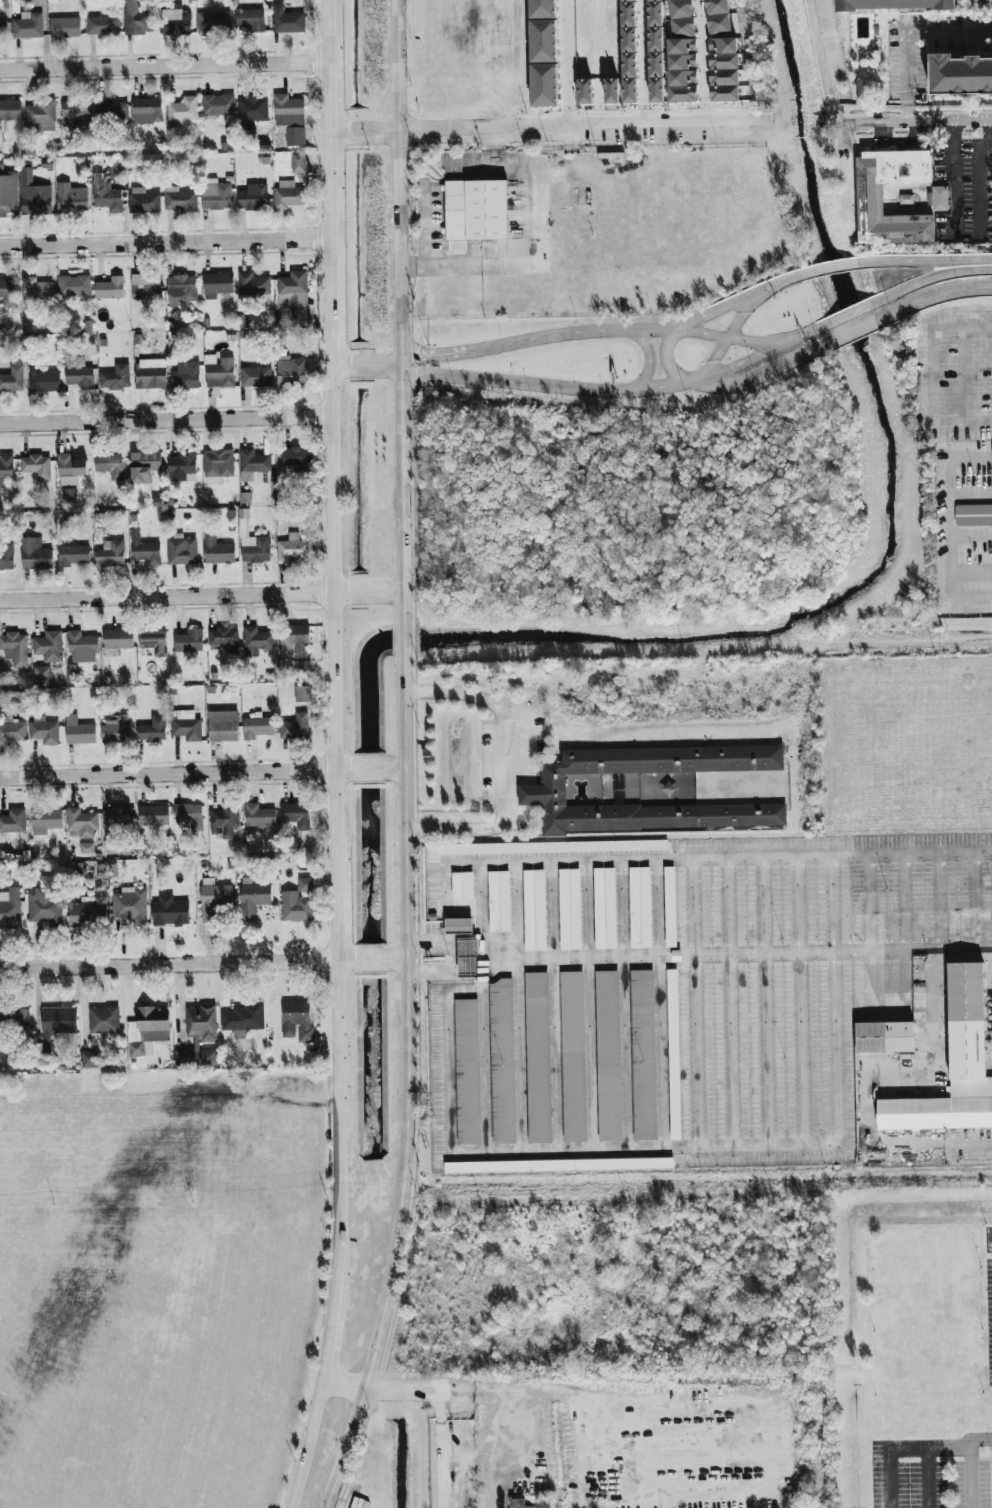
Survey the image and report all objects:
building: (627, 0)
building: (894, 4)
building: (541, 8)
building: (628, 14)
building: (716, 16)
building: (250, 19)
building: (681, 19)
building: (287, 20)
building: (138, 21)
building: (177, 23)
building: (213, 23)
building: (28, 26)
building: (102, 26)
building: (3, 27)
building: (65, 27)
road: (905, 35)
road: (325, 36)
building: (628, 39)
building: (542, 41)
building: (655, 51)
road: (699, 53)
road: (564, 54)
road: (824, 62)
building: (628, 65)
road: (162, 68)
building: (723, 69)
building: (682, 70)
building: (958, 71)
building: (543, 85)
building: (584, 91)
building: (611, 91)
road: (326, 103)
building: (218, 105)
building: (10, 110)
building: (112, 111)
building: (146, 111)
building: (76, 112)
building: (182, 112)
building: (251, 112)
building: (41, 115)
road: (704, 115)
building: (290, 118)
road: (565, 118)
road: (914, 123)
road: (597, 127)
road: (376, 132)
road: (495, 140)
road: (495, 160)
building: (298, 163)
road: (953, 175)
road: (982, 175)
building: (8, 192)
building: (215, 195)
building: (289, 195)
building: (34, 196)
building: (106, 197)
building: (252, 197)
building: (867, 198)
building: (941, 198)
building: (906, 199)
building: (179, 200)
building: (72, 202)
building: (143, 202)
road: (536, 207)
building: (474, 210)
road: (329, 216)
road: (431, 229)
road: (165, 247)
road: (869, 261)
road: (439, 269)
building: (253, 284)
building: (73, 285)
building: (145, 285)
building: (217, 285)
building: (7, 288)
building: (110, 288)
building: (181, 289)
building: (36, 290)
building: (292, 290)
road: (951, 291)
road: (881, 299)
road: (400, 311)
road: (863, 327)
road: (330, 332)
road: (610, 332)
road: (724, 337)
road: (725, 340)
road: (433, 359)
road: (648, 359)
road: (665, 364)
road: (735, 364)
road: (366, 365)
building: (290, 370)
building: (218, 372)
building: (150, 374)
building: (186, 376)
road: (757, 376)
building: (13, 377)
building: (80, 377)
building: (255, 377)
building: (116, 378)
building: (44, 381)
road: (548, 387)
road: (165, 421)
building: (296, 456)
building: (218, 463)
building: (252, 464)
building: (109, 465)
building: (36, 466)
building: (144, 466)
building: (182, 467)
building: (5, 468)
building: (70, 469)
building: (69, 496)
road: (949, 513)
building: (972, 516)
building: (292, 548)
building: (255, 549)
building: (144, 550)
building: (181, 550)
building: (218, 551)
building: (35, 554)
building: (110, 554)
building: (73, 555)
building: (6, 556)
road: (201, 597)
road: (332, 627)
building: (295, 638)
road: (404, 638)
building: (118, 639)
building: (224, 639)
building: (257, 639)
building: (188, 641)
building: (154, 642)
road: (915, 644)
building: (48, 647)
building: (82, 647)
building: (15, 648)
building: (301, 668)
building: (41, 676)
building: (302, 694)
building: (186, 725)
building: (222, 726)
building: (258, 726)
building: (295, 727)
building: (115, 729)
building: (12, 730)
building: (154, 730)
building: (44, 731)
building: (78, 731)
road: (510, 762)
road: (369, 771)
road: (397, 771)
road: (174, 775)
building: (540, 794)
building: (153, 815)
building: (189, 815)
building: (258, 815)
building: (296, 815)
building: (117, 820)
building: (13, 821)
building: (45, 821)
building: (224, 821)
building: (81, 822)
building: (552, 847)
building: (86, 848)
road: (696, 858)
building: (462, 885)
building: (252, 898)
building: (214, 899)
road: (974, 900)
building: (499, 901)
road: (939, 901)
building: (298, 902)
road: (902, 902)
road: (866, 903)
building: (130, 905)
building: (43, 906)
building: (640, 907)
building: (669, 907)
road: (463, 908)
building: (604, 908)
building: (569, 909)
building: (534, 910)
building: (9, 912)
building: (169, 912)
building: (88, 913)
road: (336, 925)
building: (458, 925)
road: (444, 945)
road: (493, 954)
road: (748, 954)
building: (467, 957)
road: (369, 961)
road: (398, 961)
road: (342, 962)
road: (168, 965)
road: (456, 973)
parking lot: (674, 992)
road: (833, 1000)
road: (764, 1001)
road: (798, 1001)
road: (729, 1002)
road: (693, 1003)
road: (659, 1004)
road: (623, 1005)
road: (552, 1006)
road: (587, 1006)
road: (518, 1007)
road: (482, 1008)
building: (294, 1017)
building: (243, 1018)
building: (14, 1019)
building: (103, 1020)
building: (57, 1024)
building: (200, 1024)
building: (147, 1031)
building: (884, 1040)
building: (642, 1055)
building: (673, 1055)
building: (571, 1056)
building: (607, 1056)
building: (195, 1058)
building: (536, 1058)
building: (5, 1059)
building: (90, 1060)
building: (501, 1061)
road: (444, 1064)
building: (954, 1067)
building: (466, 1072)
road: (408, 1086)
road: (338, 1132)
road: (979, 1141)
road: (641, 1150)
building: (558, 1166)
road: (327, 1341)
road: (343, 1385)
road: (457, 1396)
road: (892, 1397)
road: (618, 1400)
road: (444, 1412)
parking lot: (931, 1438)
road: (307, 1444)
road: (931, 1445)
road: (971, 1464)
road: (929, 1477)
building: (516, 1502)
road: (349, 1504)
road: (331, 1507)

